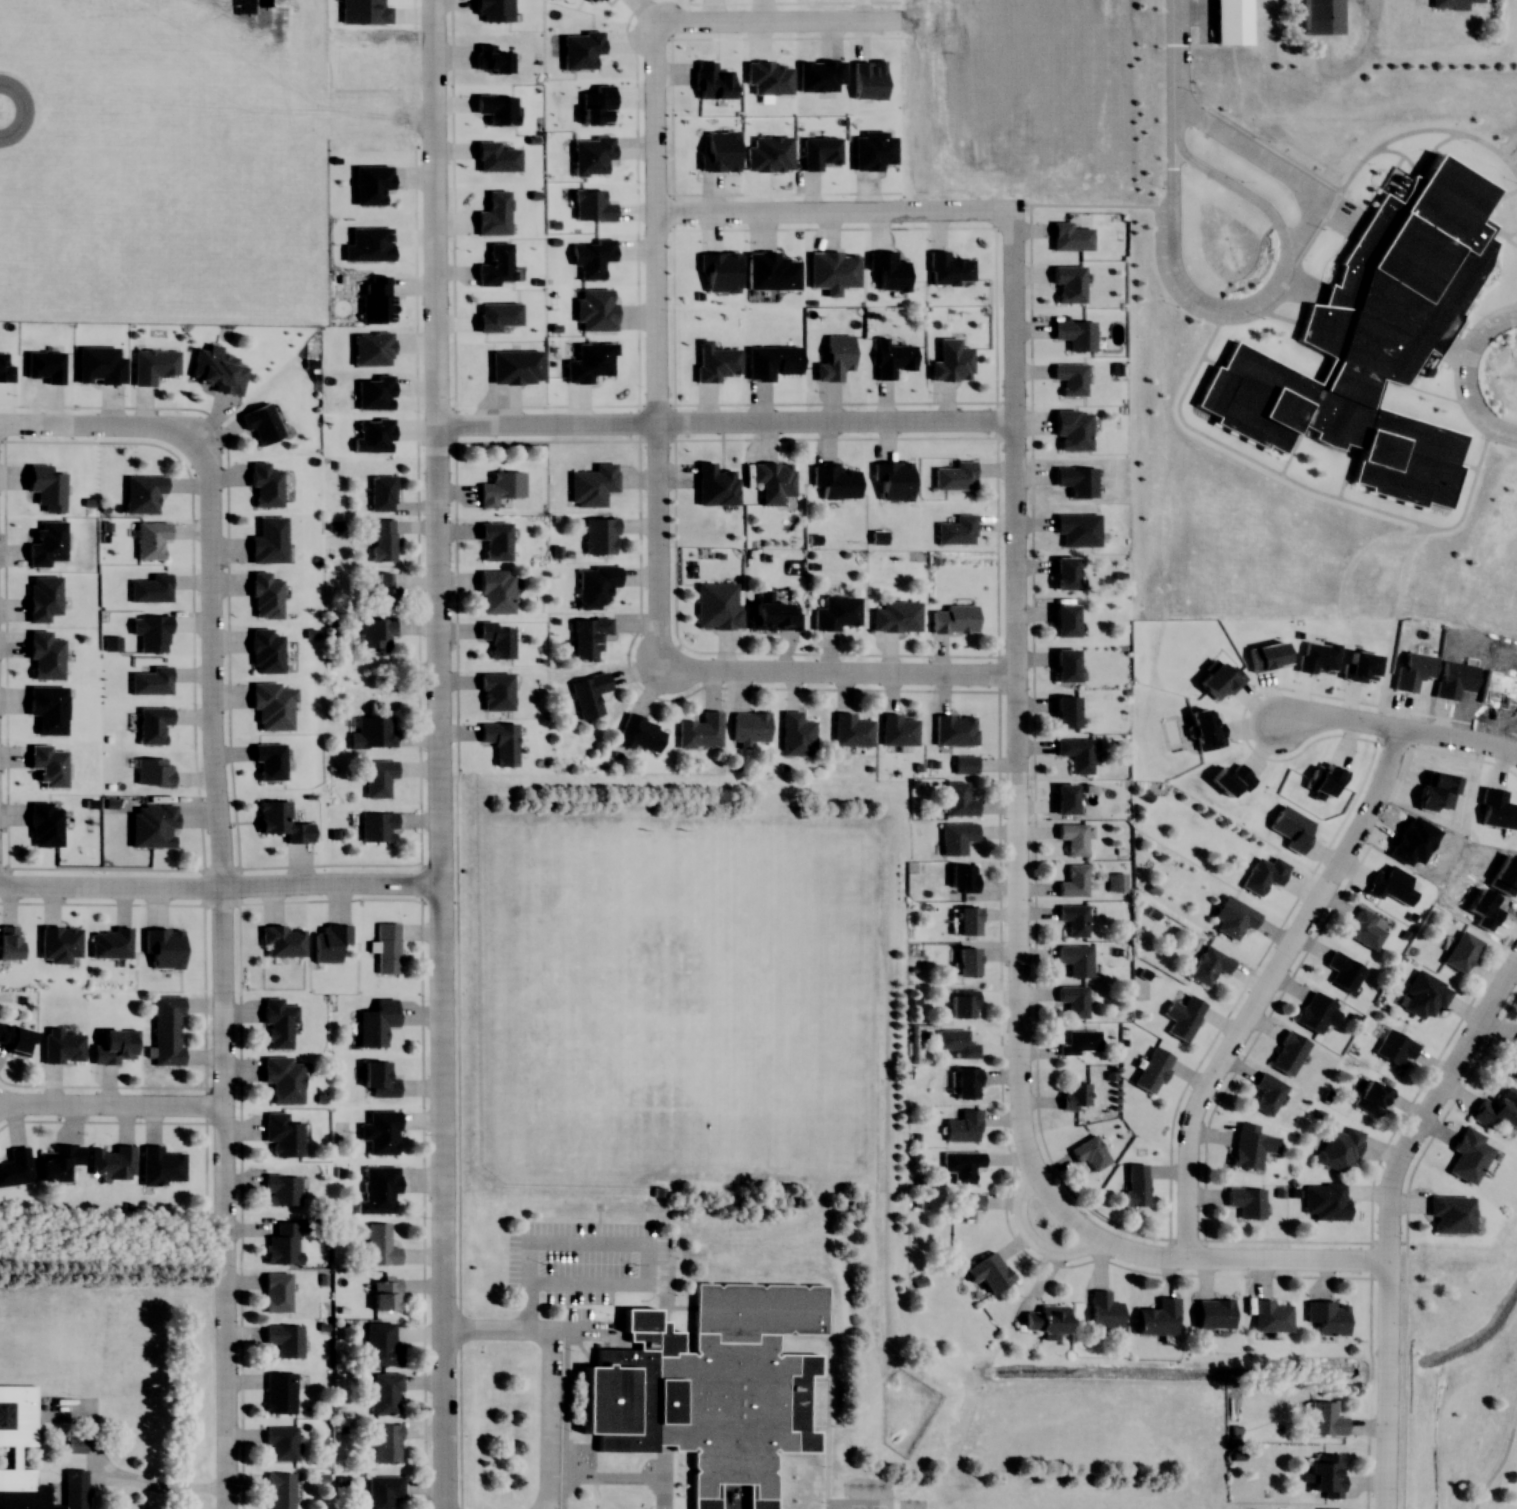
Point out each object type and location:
building: (1452, 4)
building: (1321, 17)
road: (789, 25)
road: (1181, 77)
road: (1276, 165)
road: (836, 216)
building: (1070, 238)
building: (1069, 284)
road: (1261, 303)
building: (1075, 335)
road: (664, 349)
building: (835, 359)
building: (892, 359)
building: (771, 362)
building: (951, 362)
building: (153, 366)
building: (217, 370)
building: (1070, 378)
road: (1473, 379)
road: (724, 424)
building: (260, 425)
road: (106, 429)
building: (1072, 430)
building: (955, 477)
building: (773, 481)
building: (834, 481)
building: (892, 481)
building: (1076, 482)
building: (264, 485)
building: (592, 486)
building: (715, 486)
building: (501, 488)
building: (381, 494)
building: (144, 495)
building: (1078, 530)
building: (956, 532)
building: (599, 536)
building: (150, 540)
building: (383, 541)
building: (494, 541)
building: (268, 542)
building: (1065, 574)
building: (595, 586)
building: (150, 589)
building: (381, 589)
building: (494, 592)
building: (265, 597)
building: (716, 606)
building: (837, 613)
building: (774, 617)
building: (896, 617)
building: (953, 620)
building: (1065, 620)
building: (375, 633)
building: (152, 634)
building: (587, 637)
building: (497, 640)
building: (111, 644)
building: (265, 652)
building: (1065, 666)
road: (841, 675)
building: (150, 681)
building: (495, 693)
building: (589, 695)
building: (272, 706)
building: (1066, 713)
road: (1336, 717)
road: (1014, 724)
building: (152, 725)
building: (749, 729)
building: (898, 730)
building: (954, 730)
building: (850, 731)
building: (700, 732)
building: (374, 733)
building: (640, 734)
building: (796, 736)
road: (1457, 739)
building: (500, 743)
road: (439, 754)
building: (1076, 754)
building: (268, 761)
building: (153, 773)
building: (378, 778)
building: (1065, 800)
building: (958, 801)
building: (281, 823)
building: (44, 826)
building: (152, 826)
building: (377, 828)
building: (956, 838)
building: (1073, 839)
building: (1263, 875)
building: (963, 878)
road: (220, 881)
building: (1073, 882)
building: (1115, 882)
building: (1073, 919)
building: (1236, 919)
building: (966, 920)
building: (1364, 929)
building: (281, 942)
building: (110, 945)
building: (163, 948)
building: (386, 950)
building: (1460, 951)
building: (1075, 959)
building: (966, 960)
building: (1208, 965)
building: (1343, 971)
road: (221, 980)
road: (1265, 988)
building: (1423, 996)
building: (1073, 1000)
building: (962, 1003)
building: (1314, 1012)
building: (1182, 1016)
building: (376, 1022)
building: (277, 1023)
building: (166, 1029)
building: (14, 1039)
building: (957, 1042)
building: (1080, 1042)
building: (60, 1046)
building: (115, 1047)
building: (1395, 1048)
building: (1288, 1053)
building: (1513, 1060)
building: (1152, 1070)
building: (282, 1079)
building: (378, 1079)
building: (965, 1082)
building: (1267, 1093)
building: (1074, 1096)
building: (1371, 1097)
road: (111, 1105)
building: (1497, 1108)
building: (962, 1126)
building: (379, 1132)
building: (282, 1134)
building: (1247, 1149)
building: (1338, 1149)
building: (1089, 1152)
building: (1468, 1155)
building: (111, 1161)
building: (58, 1162)
building: (961, 1165)
building: (160, 1166)
building: (15, 1167)
building: (1135, 1185)
building: (281, 1189)
building: (377, 1189)
building: (1325, 1200)
building: (1245, 1201)
building: (967, 1204)
building: (1450, 1213)
road: (1387, 1218)
road: (1030, 1238)
building: (282, 1244)
building: (380, 1245)
road: (1222, 1260)
building: (988, 1272)
building: (275, 1292)
building: (384, 1293)
building: (1102, 1310)
building: (1212, 1314)
building: (1270, 1315)
building: (1327, 1316)
building: (1157, 1317)
building: (1046, 1320)
building: (283, 1339)
building: (380, 1345)
road: (549, 1365)
park: (1460, 1376)
building: (707, 1386)
building: (279, 1393)
building: (384, 1394)
building: (1324, 1419)
building: (281, 1443)
building: (386, 1443)
building: (75, 1445)
building: (9, 1457)
road: (1501, 1462)
building: (1326, 1475)
road: (156, 1490)
building: (279, 1491)
building: (382, 1491)

